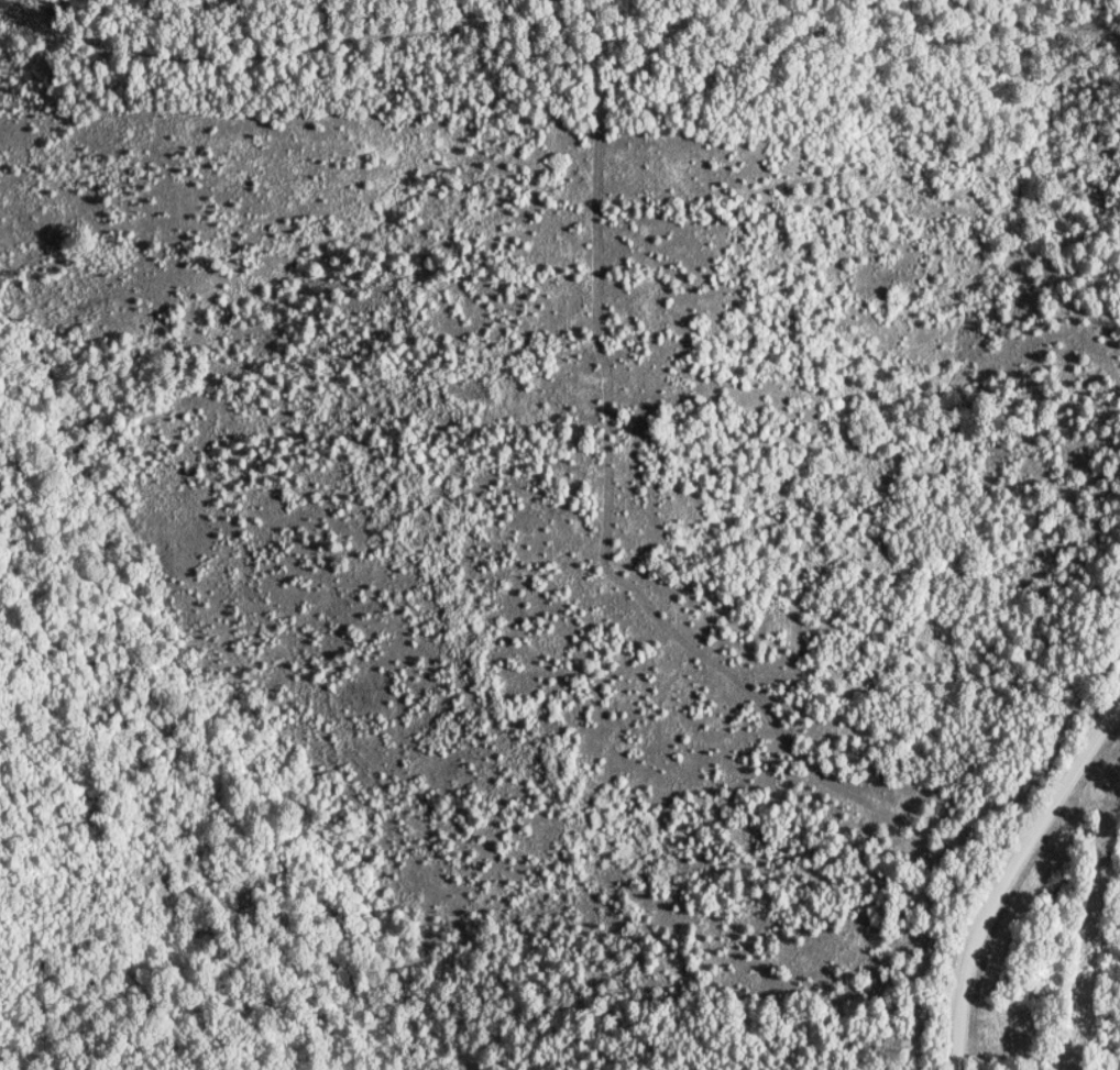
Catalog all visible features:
road: (1021, 886)

